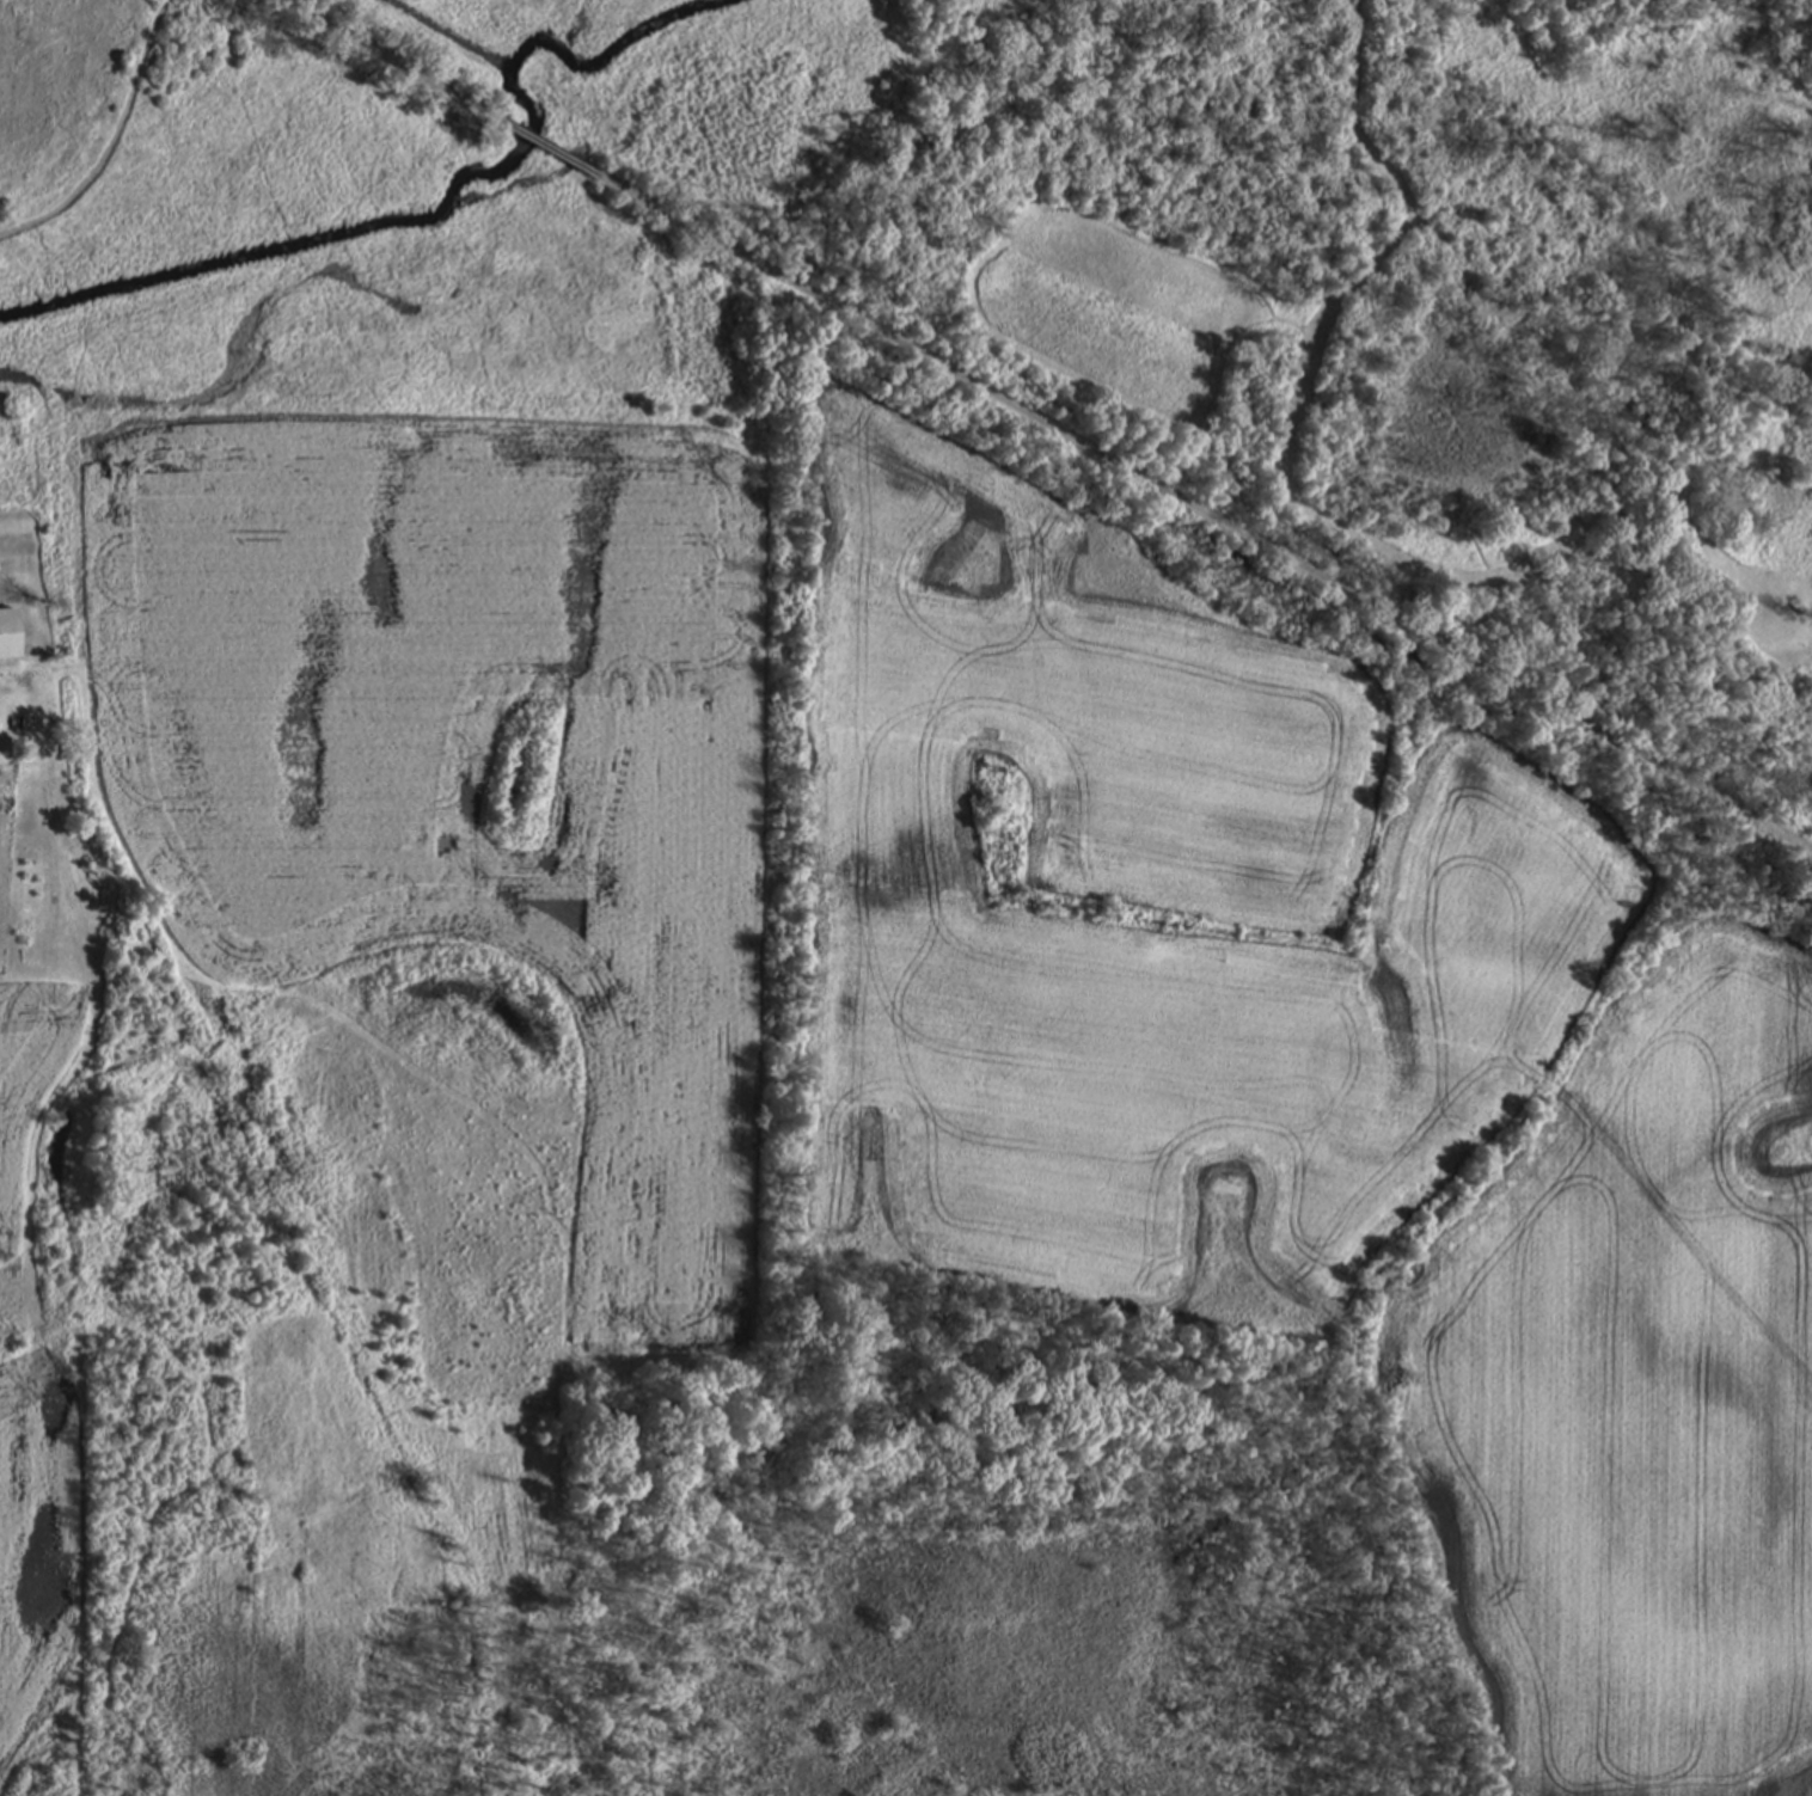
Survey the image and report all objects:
road: (391, 62)
road: (550, 152)
road: (1204, 515)
building: (7, 638)

